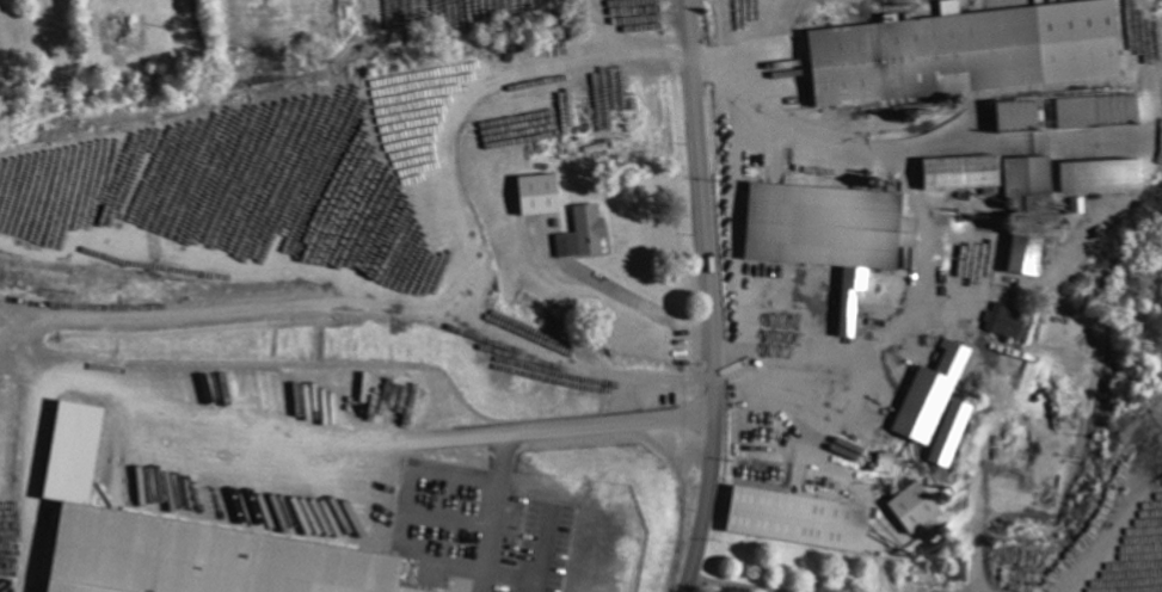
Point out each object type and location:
building: (969, 50)
building: (1100, 110)
building: (1025, 115)
building: (967, 172)
building: (1106, 175)
building: (543, 195)
building: (1035, 211)
building: (586, 233)
building: (835, 233)
road: (621, 292)
road: (713, 297)
building: (1009, 321)
building: (935, 395)
building: (954, 433)
building: (920, 506)
building: (804, 519)
building: (211, 556)

